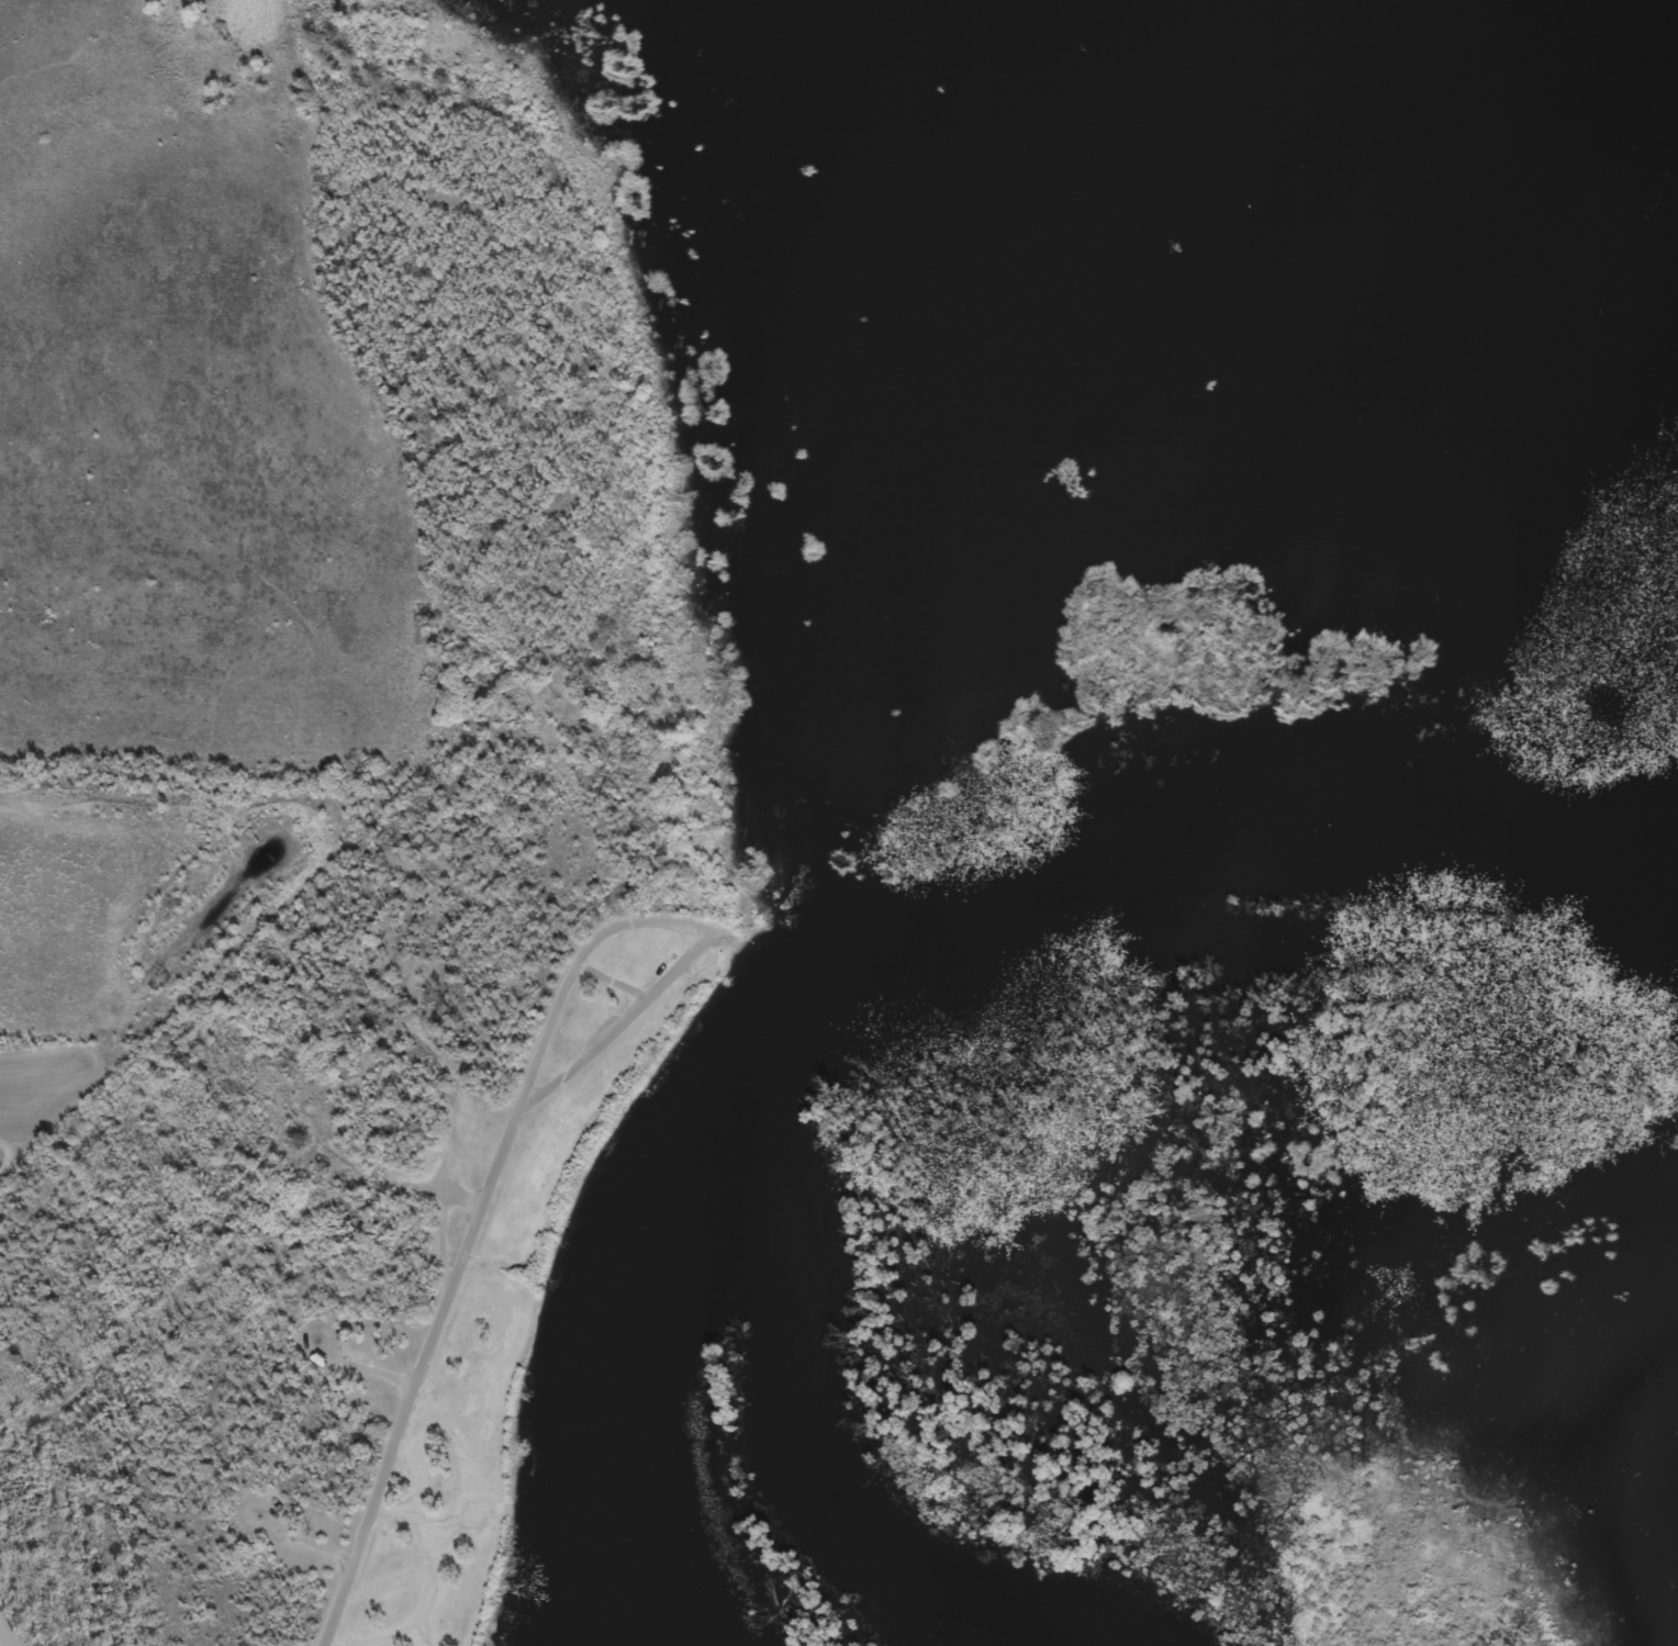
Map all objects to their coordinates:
road: (681, 923)
road: (716, 937)
road: (613, 978)
park: (486, 1281)
road: (365, 1367)
road: (418, 1377)
road: (306, 1536)
park: (19, 1626)

